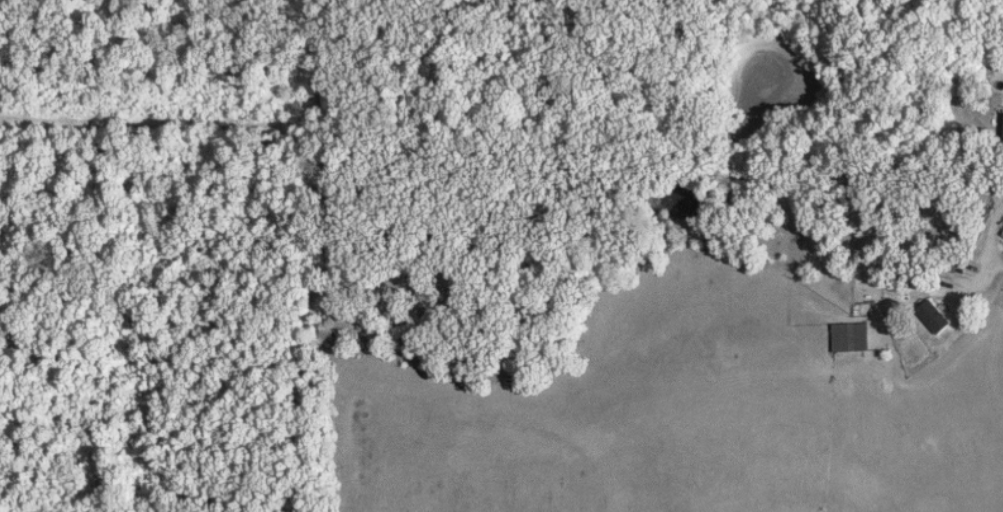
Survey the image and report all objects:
road: (982, 262)
building: (937, 317)
building: (854, 336)

